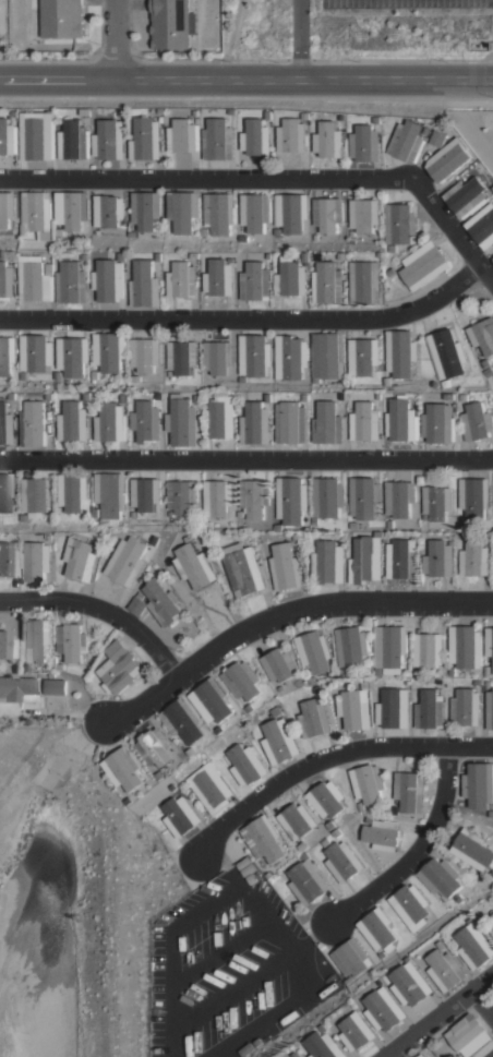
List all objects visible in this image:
building: (61, 19)
building: (172, 24)
road: (235, 31)
road: (112, 39)
road: (300, 40)
road: (245, 80)
building: (160, 110)
building: (85, 111)
building: (232, 111)
building: (13, 113)
building: (121, 113)
building: (269, 115)
building: (305, 116)
building: (341, 119)
building: (376, 120)
building: (426, 130)
building: (36, 135)
building: (183, 135)
building: (293, 135)
building: (8, 137)
building: (256, 137)
building: (438, 137)
building: (109, 139)
building: (146, 139)
building: (218, 140)
building: (73, 141)
building: (329, 141)
building: (408, 142)
building: (365, 143)
building: (448, 159)
road: (205, 178)
building: (466, 195)
building: (5, 208)
building: (70, 209)
building: (145, 209)
building: (107, 211)
building: (182, 211)
building: (34, 212)
building: (255, 212)
building: (291, 212)
building: (219, 213)
building: (327, 214)
building: (364, 215)
building: (400, 224)
road: (452, 227)
building: (482, 227)
building: (277, 231)
building: (58, 232)
building: (204, 232)
building: (132, 235)
building: (352, 236)
building: (243, 238)
building: (315, 238)
building: (393, 249)
building: (196, 255)
building: (342, 255)
building: (159, 256)
building: (269, 256)
building: (306, 256)
building: (231, 260)
building: (491, 260)
building: (424, 266)
building: (50, 268)
building: (392, 272)
building: (5, 276)
building: (291, 277)
building: (220, 278)
building: (35, 280)
building: (109, 280)
building: (182, 280)
building: (255, 281)
building: (72, 283)
building: (328, 283)
building: (366, 283)
building: (145, 285)
road: (248, 320)
building: (482, 338)
building: (108, 351)
building: (35, 353)
building: (399, 353)
building: (145, 355)
building: (446, 355)
building: (8, 356)
building: (72, 356)
building: (255, 356)
building: (328, 356)
building: (181, 357)
building: (218, 357)
building: (290, 357)
building: (362, 357)
building: (483, 365)
building: (489, 373)
building: (169, 374)
building: (22, 376)
building: (57, 376)
building: (205, 377)
building: (100, 379)
building: (135, 380)
building: (242, 380)
building: (445, 384)
building: (12, 397)
building: (49, 397)
building: (123, 397)
building: (158, 397)
building: (305, 397)
building: (344, 397)
building: (380, 397)
building: (450, 397)
building: (85, 398)
building: (269, 398)
building: (464, 398)
building: (197, 399)
building: (220, 418)
building: (401, 421)
building: (73, 422)
building: (146, 422)
building: (182, 422)
building: (291, 422)
building: (365, 422)
building: (477, 422)
building: (110, 423)
building: (437, 423)
building: (256, 424)
building: (327, 424)
building: (35, 425)
building: (5, 427)
road: (246, 458)
building: (492, 489)
building: (7, 491)
building: (72, 493)
building: (145, 494)
building: (34, 497)
building: (182, 497)
building: (217, 497)
building: (254, 497)
building: (473, 497)
building: (109, 499)
building: (328, 499)
building: (363, 499)
building: (398, 499)
building: (291, 501)
building: (436, 503)
building: (57, 511)
building: (94, 513)
building: (132, 515)
building: (239, 515)
building: (24, 518)
building: (423, 518)
building: (314, 521)
building: (206, 525)
building: (388, 525)
building: (352, 526)
building: (461, 527)
building: (277, 528)
building: (490, 536)
building: (296, 538)
building: (50, 539)
building: (189, 539)
building: (157, 543)
building: (8, 558)
building: (81, 558)
building: (400, 560)
building: (438, 560)
building: (129, 561)
building: (473, 561)
building: (36, 562)
building: (364, 562)
building: (327, 564)
building: (194, 567)
building: (286, 568)
building: (242, 569)
building: (163, 603)
building: (139, 604)
road: (103, 611)
road: (284, 613)
building: (34, 641)
building: (71, 644)
building: (5, 647)
building: (350, 648)
building: (466, 648)
building: (389, 649)
building: (490, 650)
building: (428, 651)
building: (315, 652)
building: (279, 665)
building: (60, 668)
building: (22, 669)
building: (119, 670)
building: (377, 672)
building: (488, 672)
building: (341, 673)
building: (450, 673)
building: (416, 674)
building: (51, 675)
building: (242, 682)
building: (312, 682)
building: (407, 683)
building: (440, 683)
building: (477, 683)
building: (363, 686)
building: (488, 686)
building: (55, 687)
building: (17, 689)
building: (281, 690)
building: (317, 690)
building: (212, 701)
building: (466, 708)
building: (250, 709)
building: (393, 710)
building: (429, 710)
building: (490, 710)
building: (353, 711)
building: (276, 712)
building: (313, 719)
building: (183, 722)
building: (220, 732)
building: (278, 742)
building: (155, 749)
building: (190, 753)
road: (328, 760)
building: (245, 766)
building: (123, 771)
building: (160, 777)
building: (368, 785)
building: (478, 786)
building: (172, 788)
building: (209, 789)
building: (410, 793)
building: (326, 801)
building: (361, 808)
building: (491, 815)
building: (178, 817)
building: (369, 820)
building: (297, 822)
building: (330, 826)
building: (338, 834)
building: (382, 837)
building: (263, 839)
building: (326, 844)
road: (411, 850)
building: (472, 851)
building: (306, 857)
building: (243, 863)
building: (344, 863)
building: (248, 869)
building: (268, 877)
building: (250, 879)
building: (440, 879)
building: (308, 885)
building: (458, 900)
building: (411, 909)
building: (491, 921)
building: (469, 922)
building: (377, 932)
building: (491, 932)
building: (441, 947)
building: (473, 950)
building: (382, 954)
building: (350, 960)
building: (444, 972)
building: (349, 980)
building: (410, 986)
road: (482, 1006)
building: (383, 1011)
road: (440, 1016)
building: (465, 1032)
building: (354, 1034)
building: (321, 1046)
building: (245, 1050)
building: (484, 1050)
building: (420, 1054)

